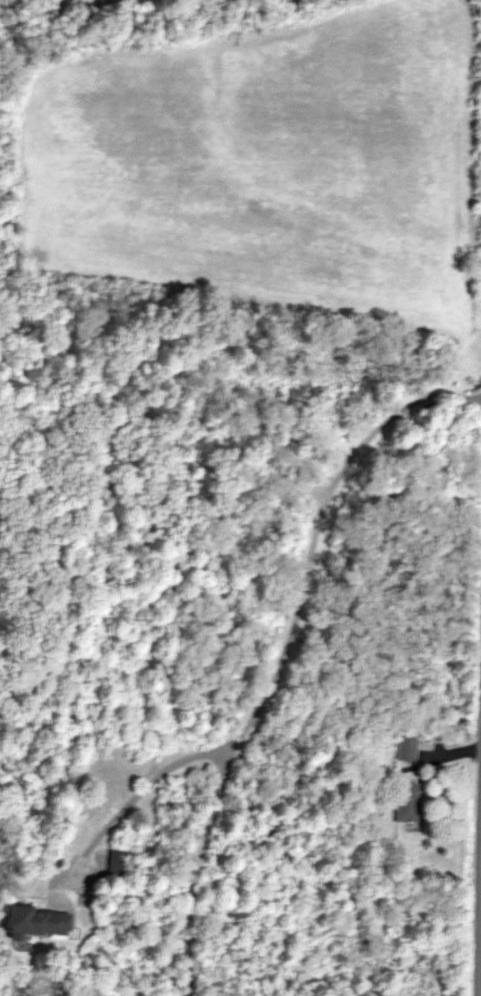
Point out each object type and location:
road: (288, 633)
building: (404, 748)
building: (405, 802)
building: (114, 865)
road: (191, 869)
building: (34, 923)
road: (480, 980)

